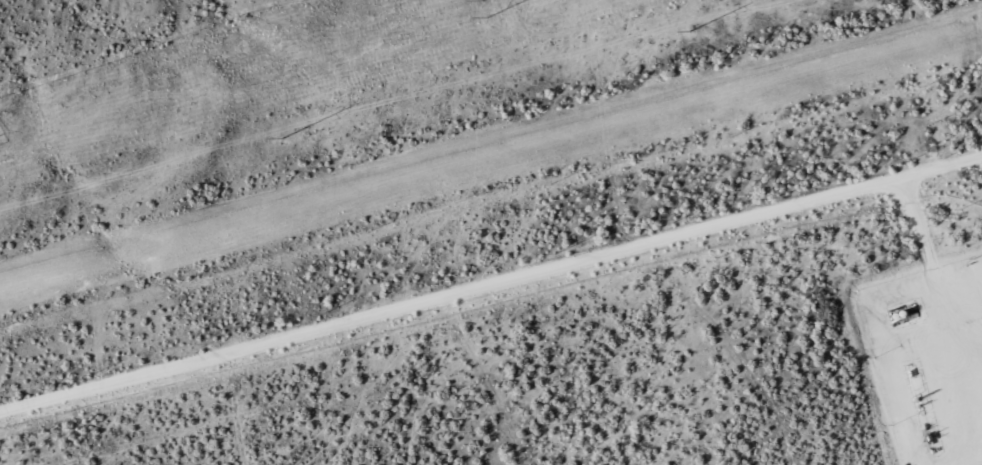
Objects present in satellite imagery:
power tower: (488, 11)
power tower: (690, 31)
power tower: (282, 139)

